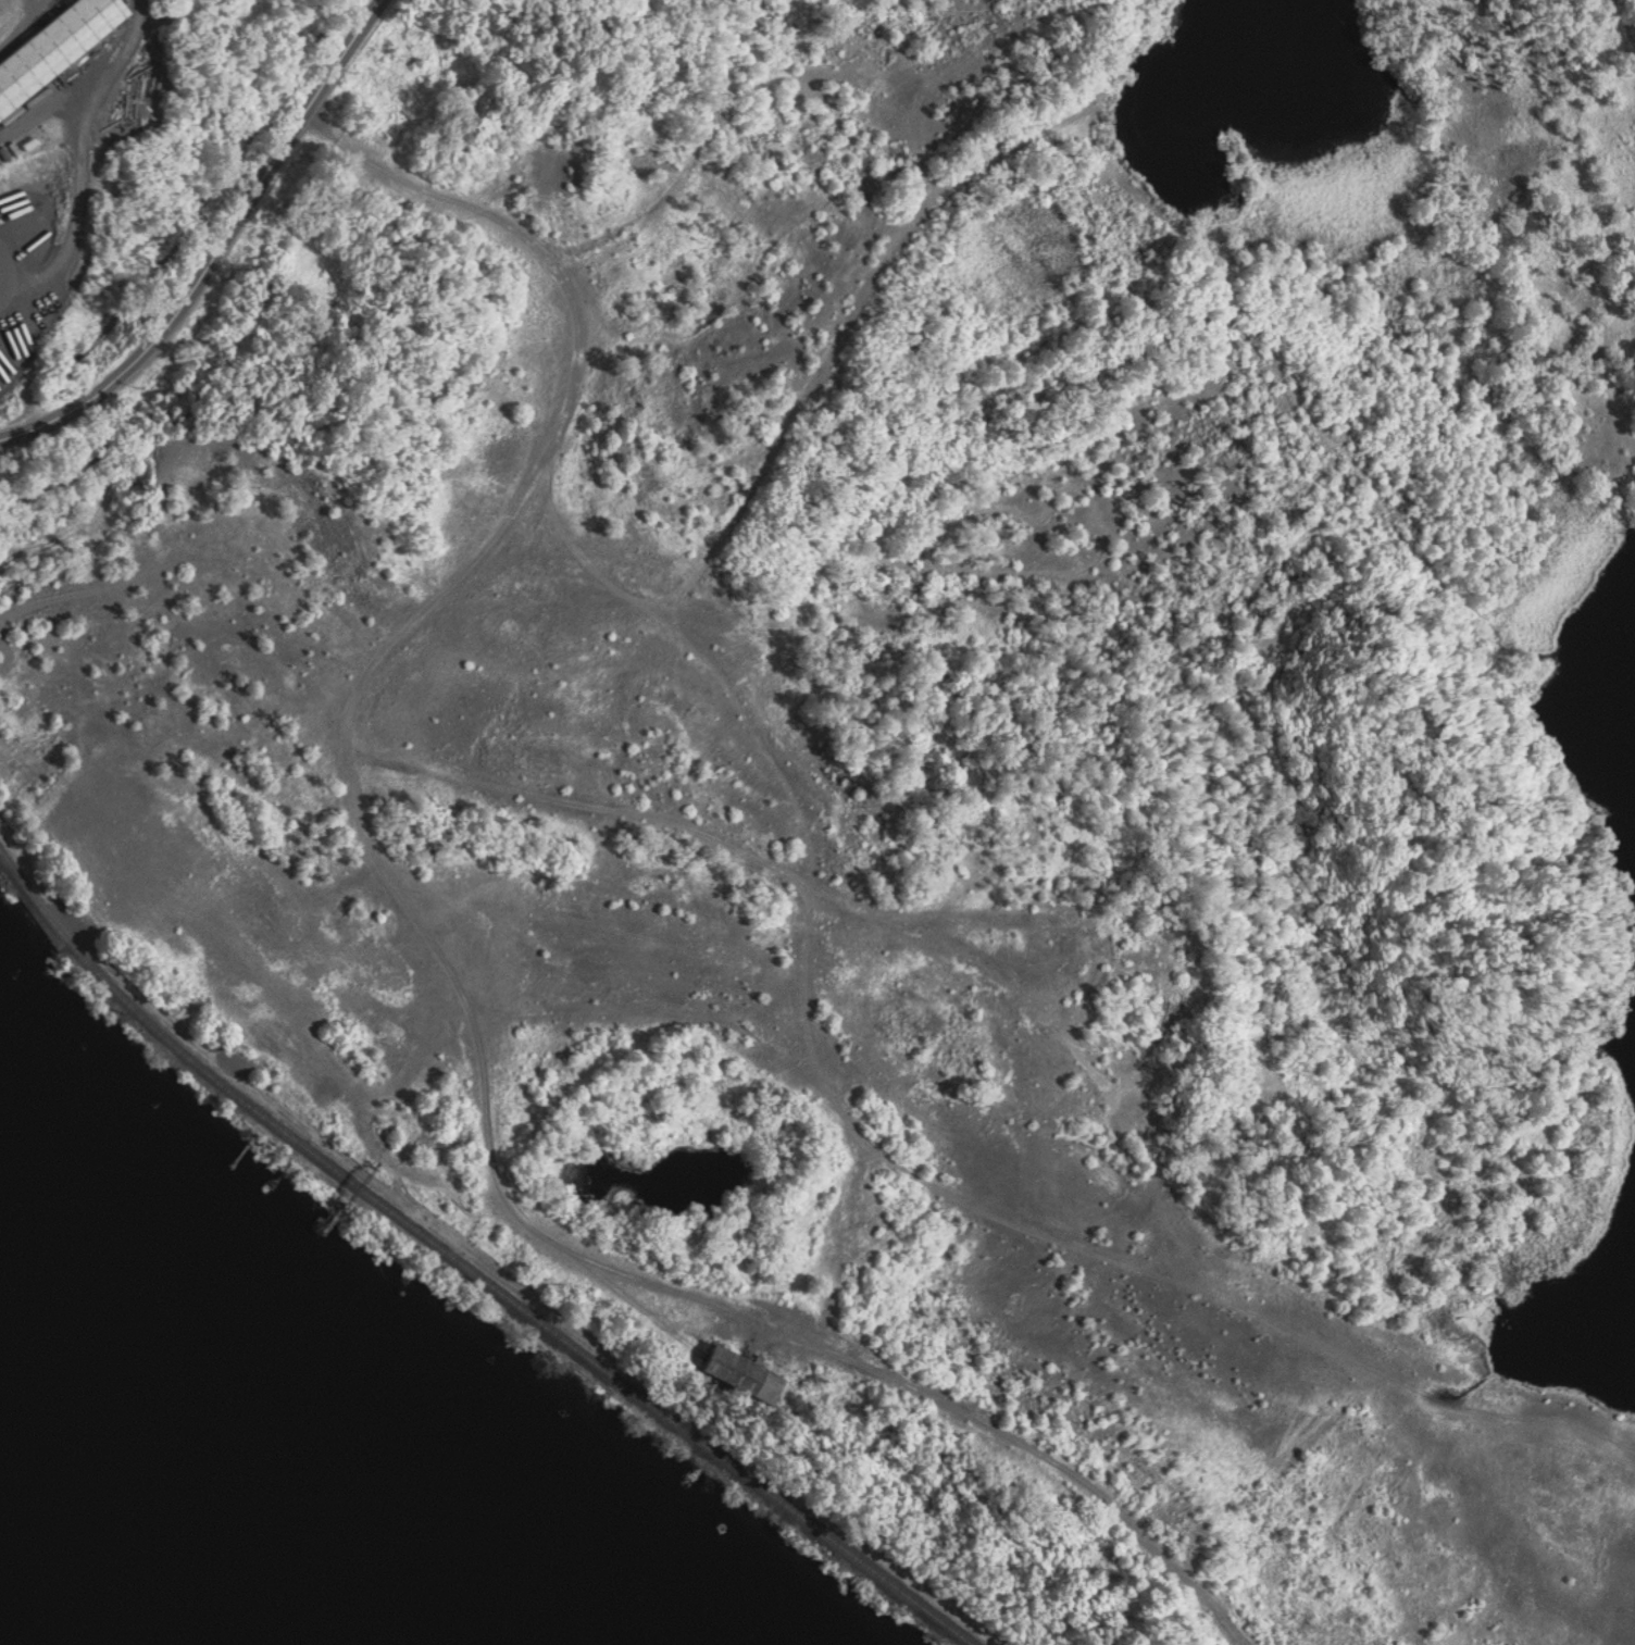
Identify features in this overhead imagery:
road: (1086, 20)
road: (1622, 26)
building: (46, 37)
road: (699, 140)
road: (84, 166)
road: (219, 249)
road: (1244, 319)
road: (795, 406)
road: (450, 972)
road: (656, 1007)
road: (895, 1157)
railway: (469, 1268)
building: (715, 1371)
river: (97, 1566)

